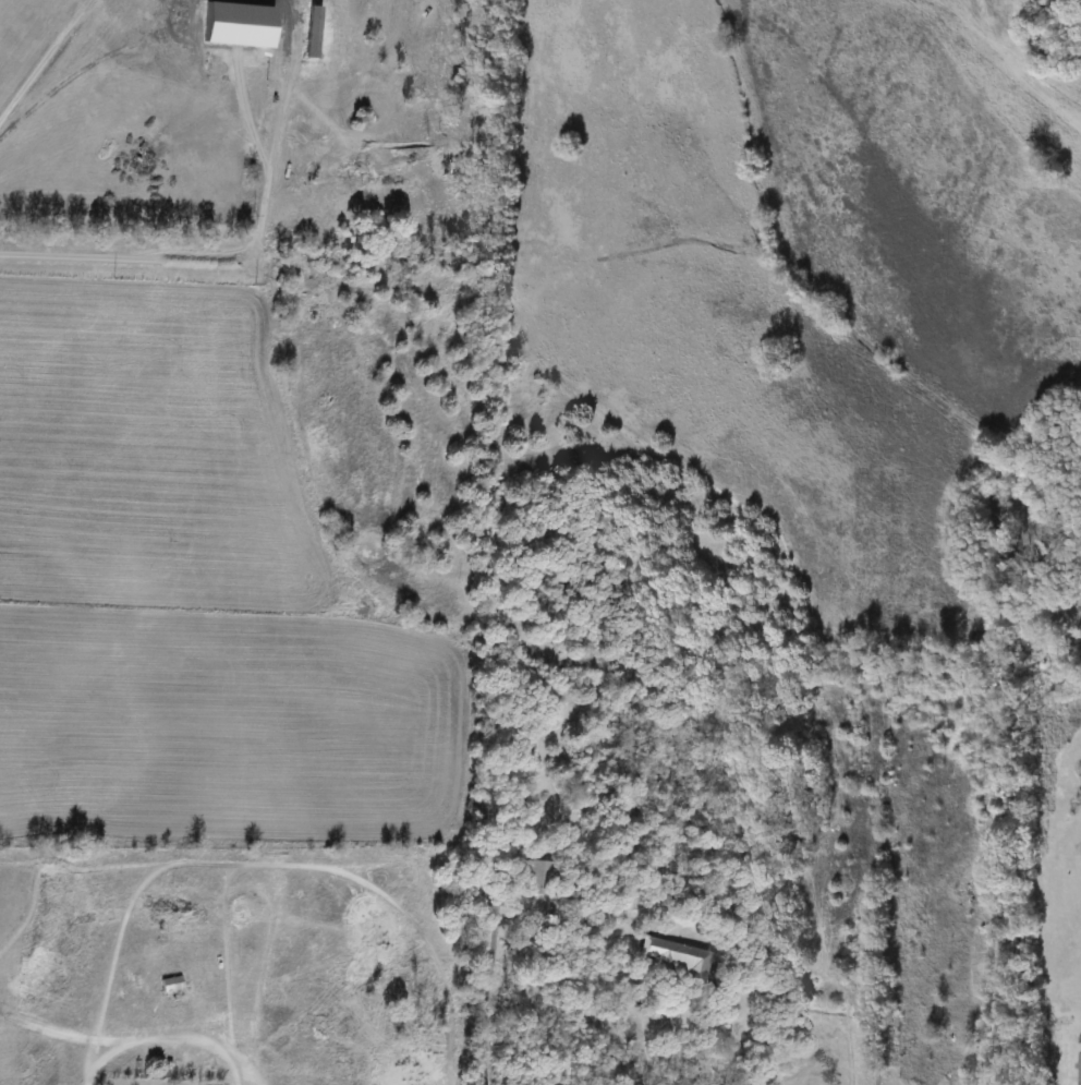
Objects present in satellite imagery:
road: (226, 264)
building: (539, 879)
building: (675, 959)
building: (171, 985)
road: (493, 997)
road: (640, 1056)
building: (1080, 1069)

